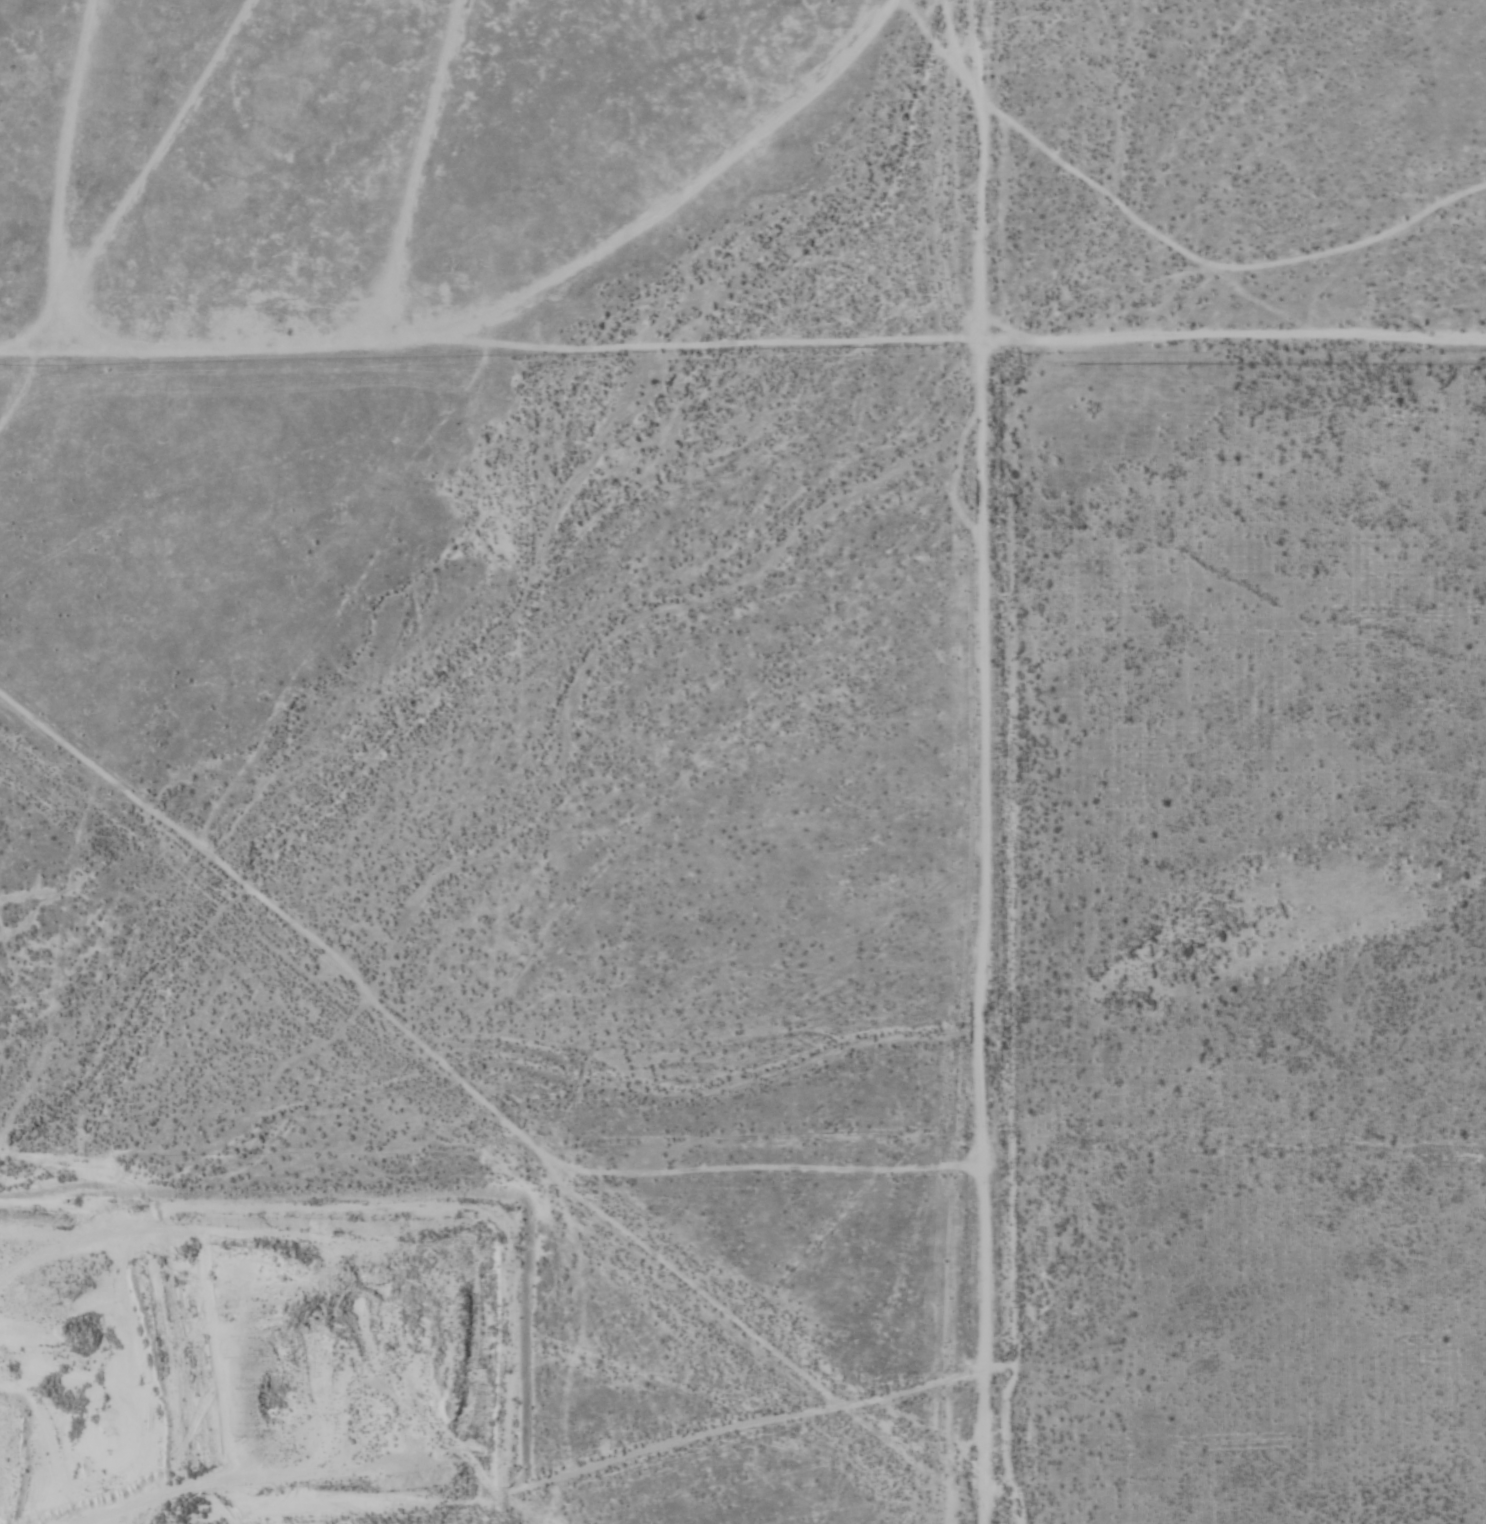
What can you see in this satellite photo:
road: (1011, 1411)

